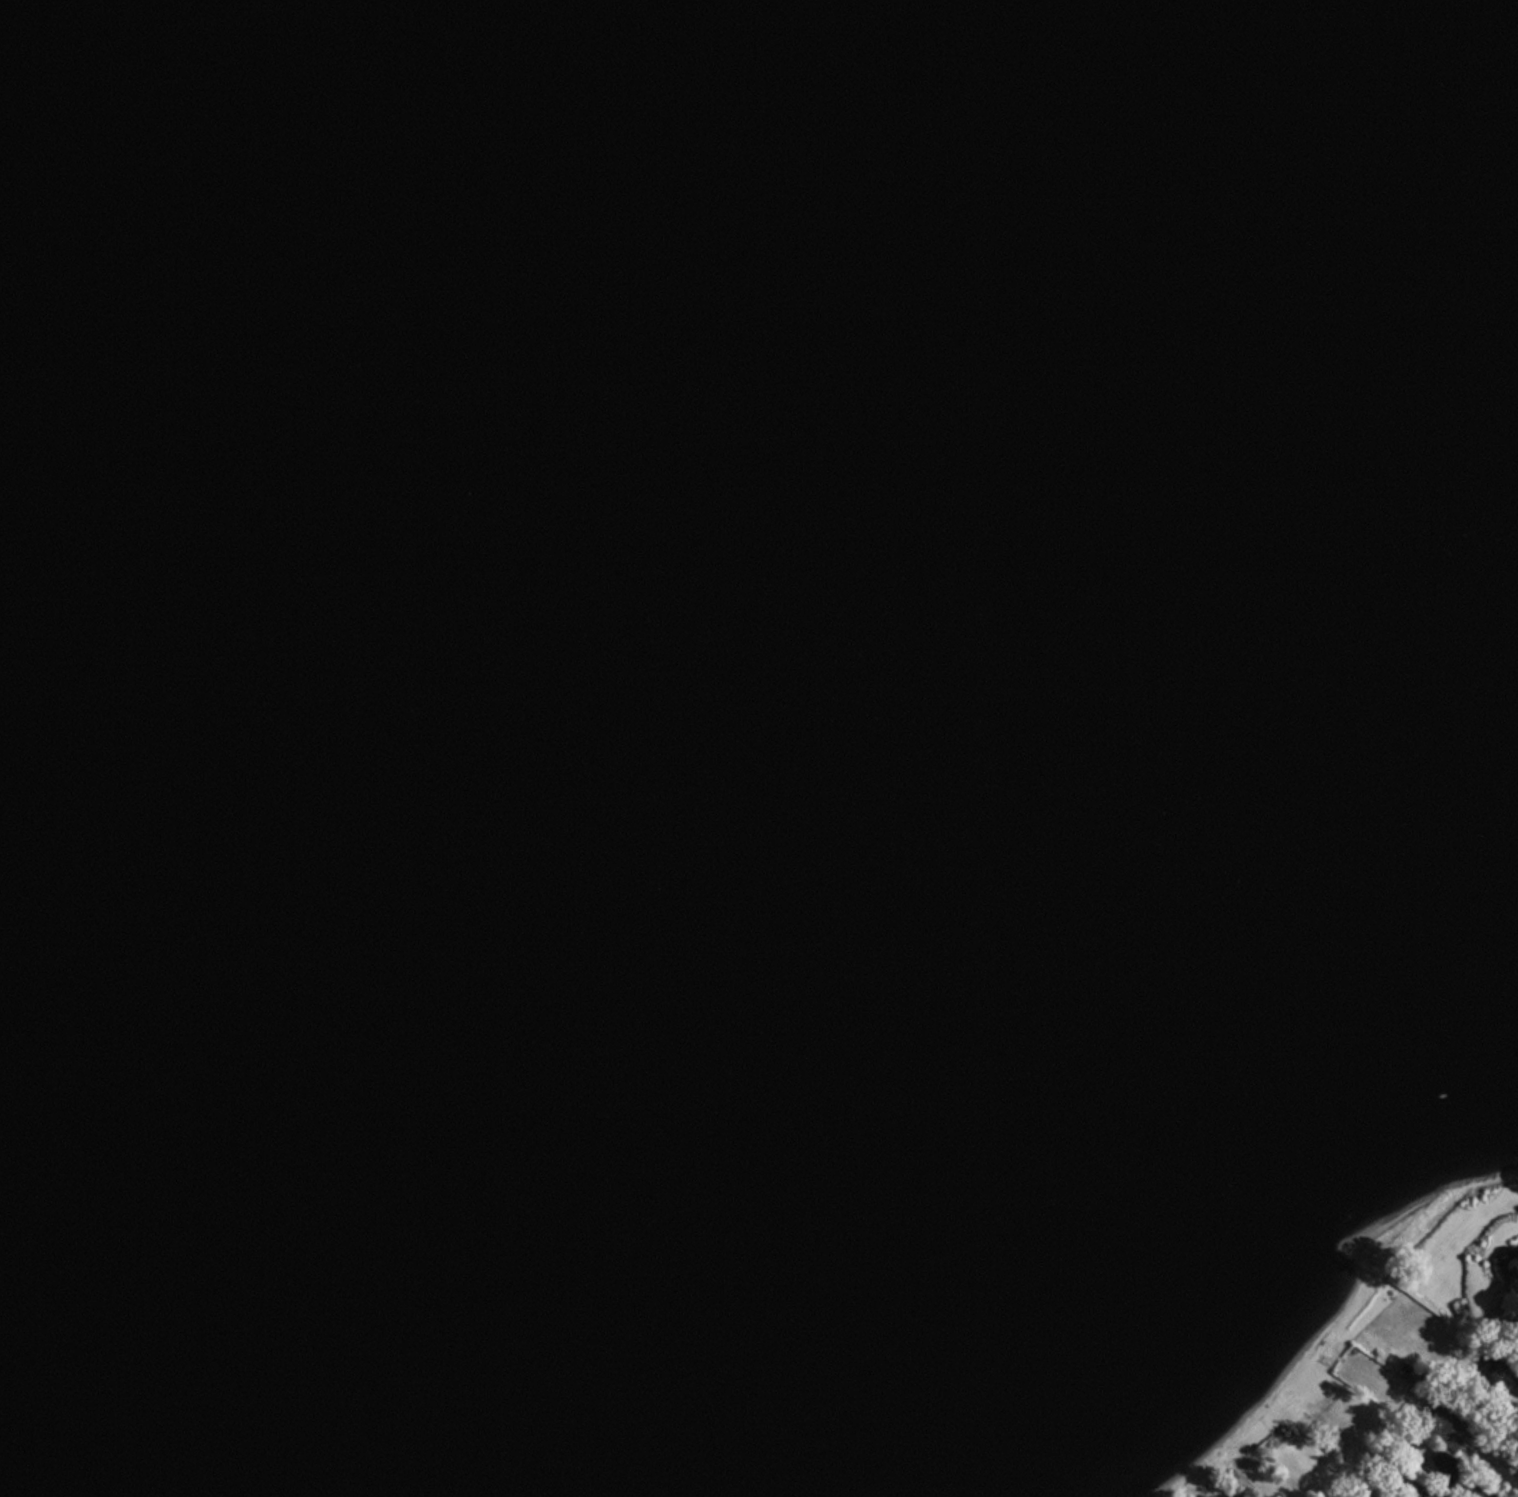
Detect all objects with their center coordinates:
building: (1510, 1269)
building: (1502, 1378)
building: (1448, 1432)
building: (1442, 1470)
building: (1413, 1492)

